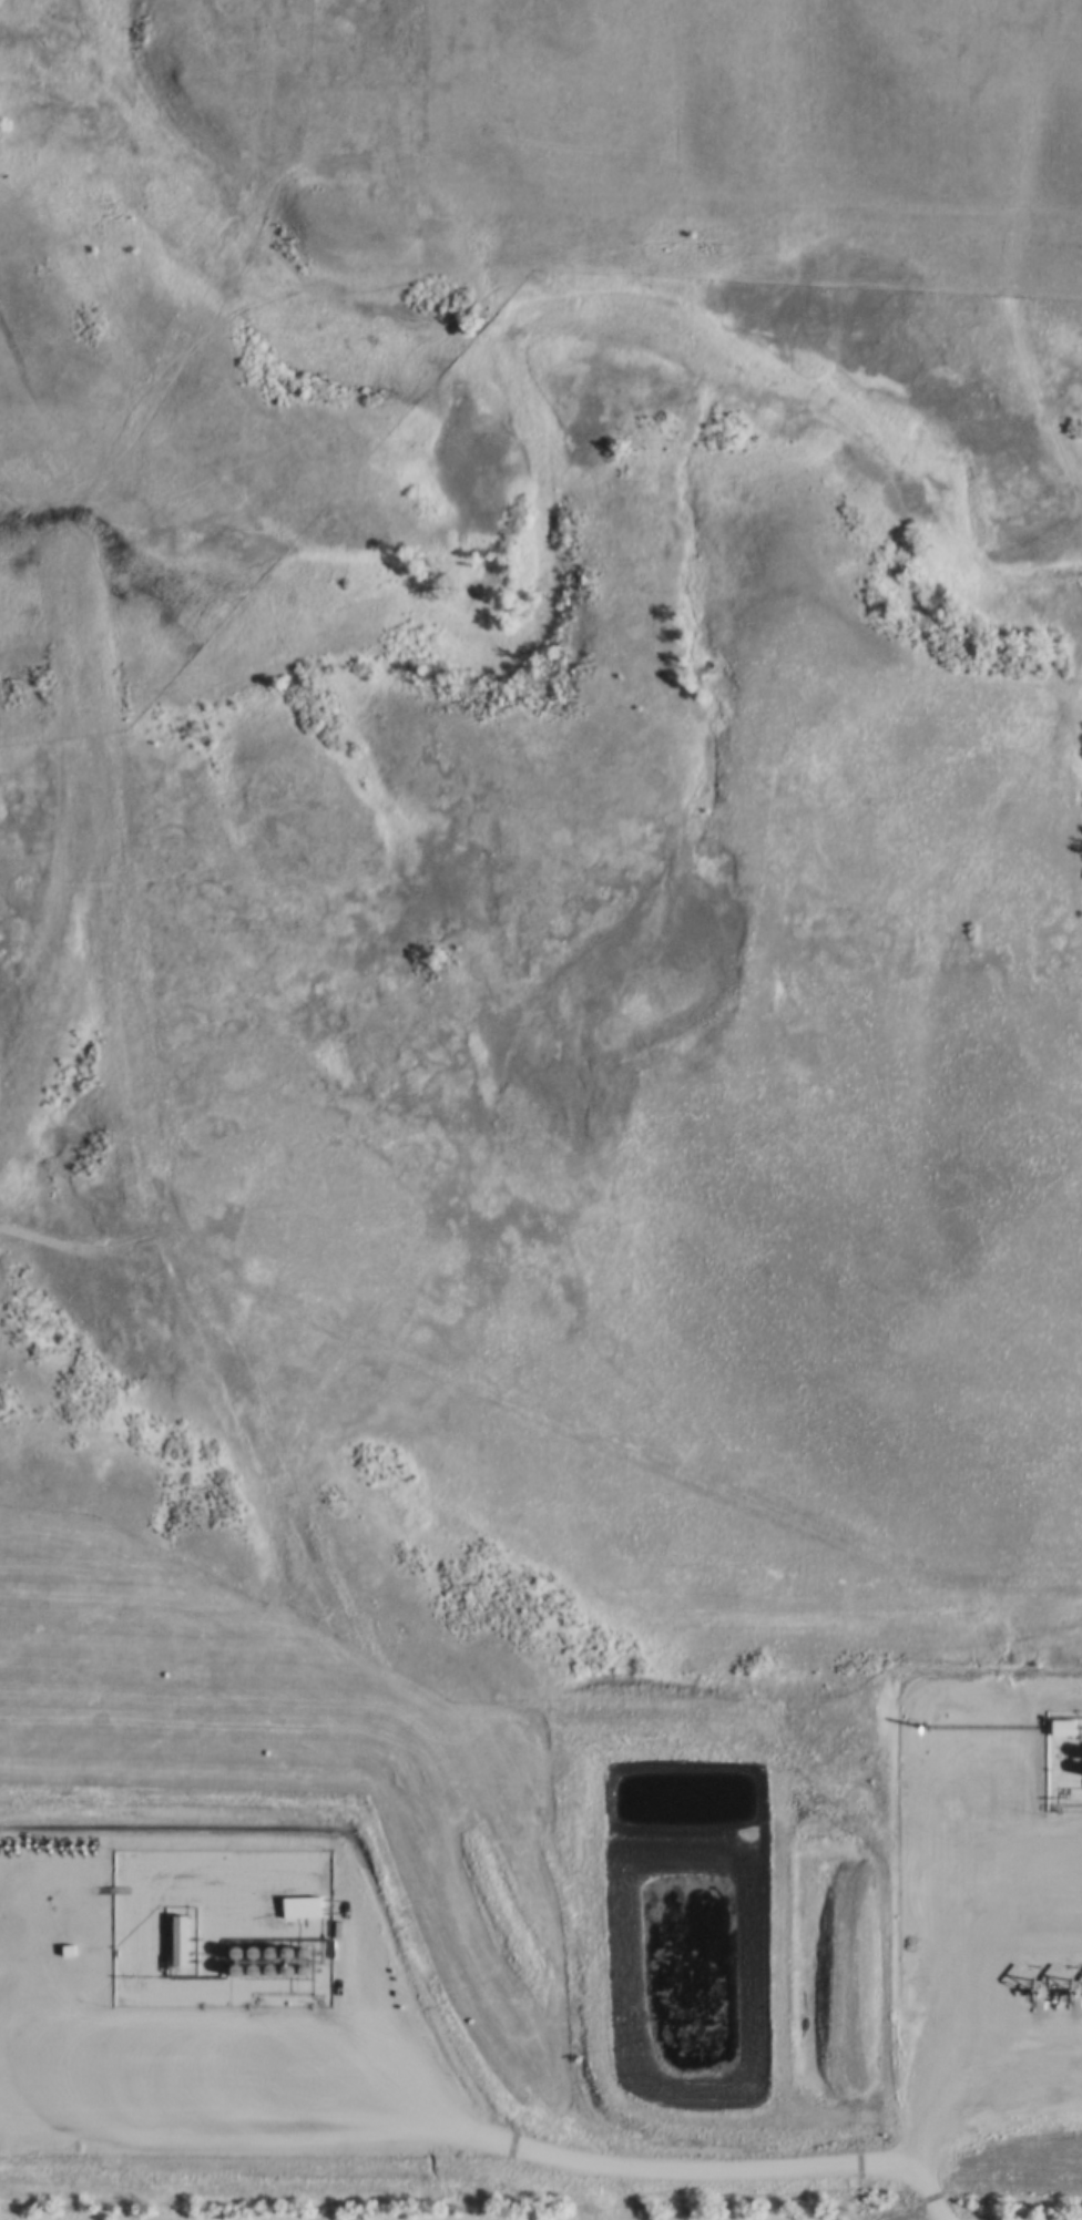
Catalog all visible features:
quarry: (919, 1993)

